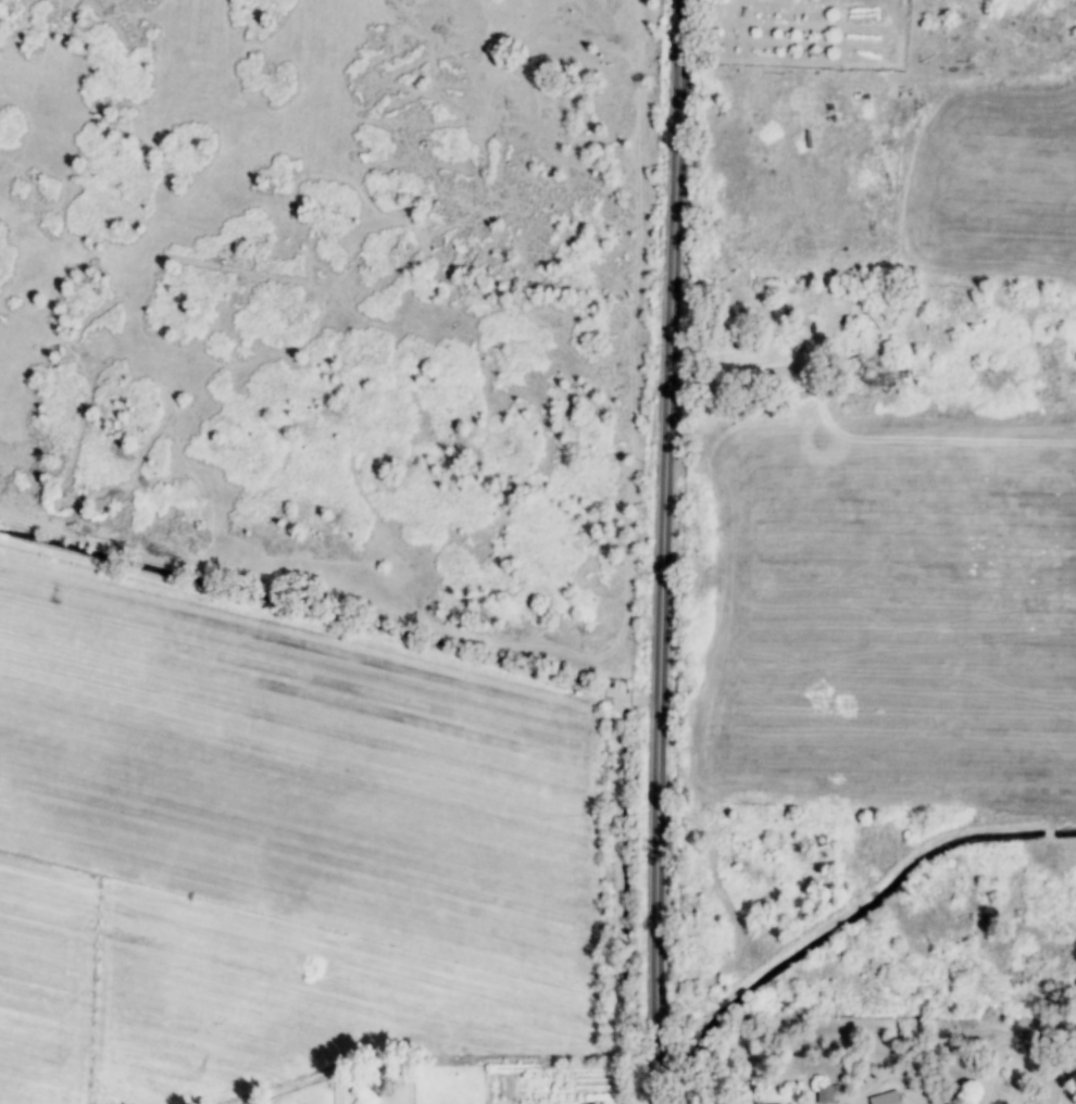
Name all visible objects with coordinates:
road: (665, 551)
building: (824, 1094)
building: (885, 1099)
building: (751, 1103)

